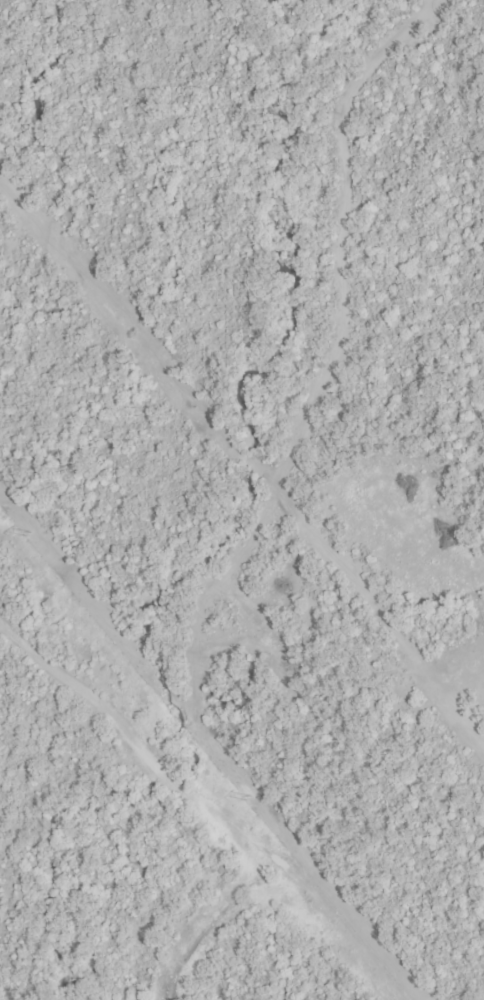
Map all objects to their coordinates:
power tower: (27, 534)
power tower: (248, 799)

